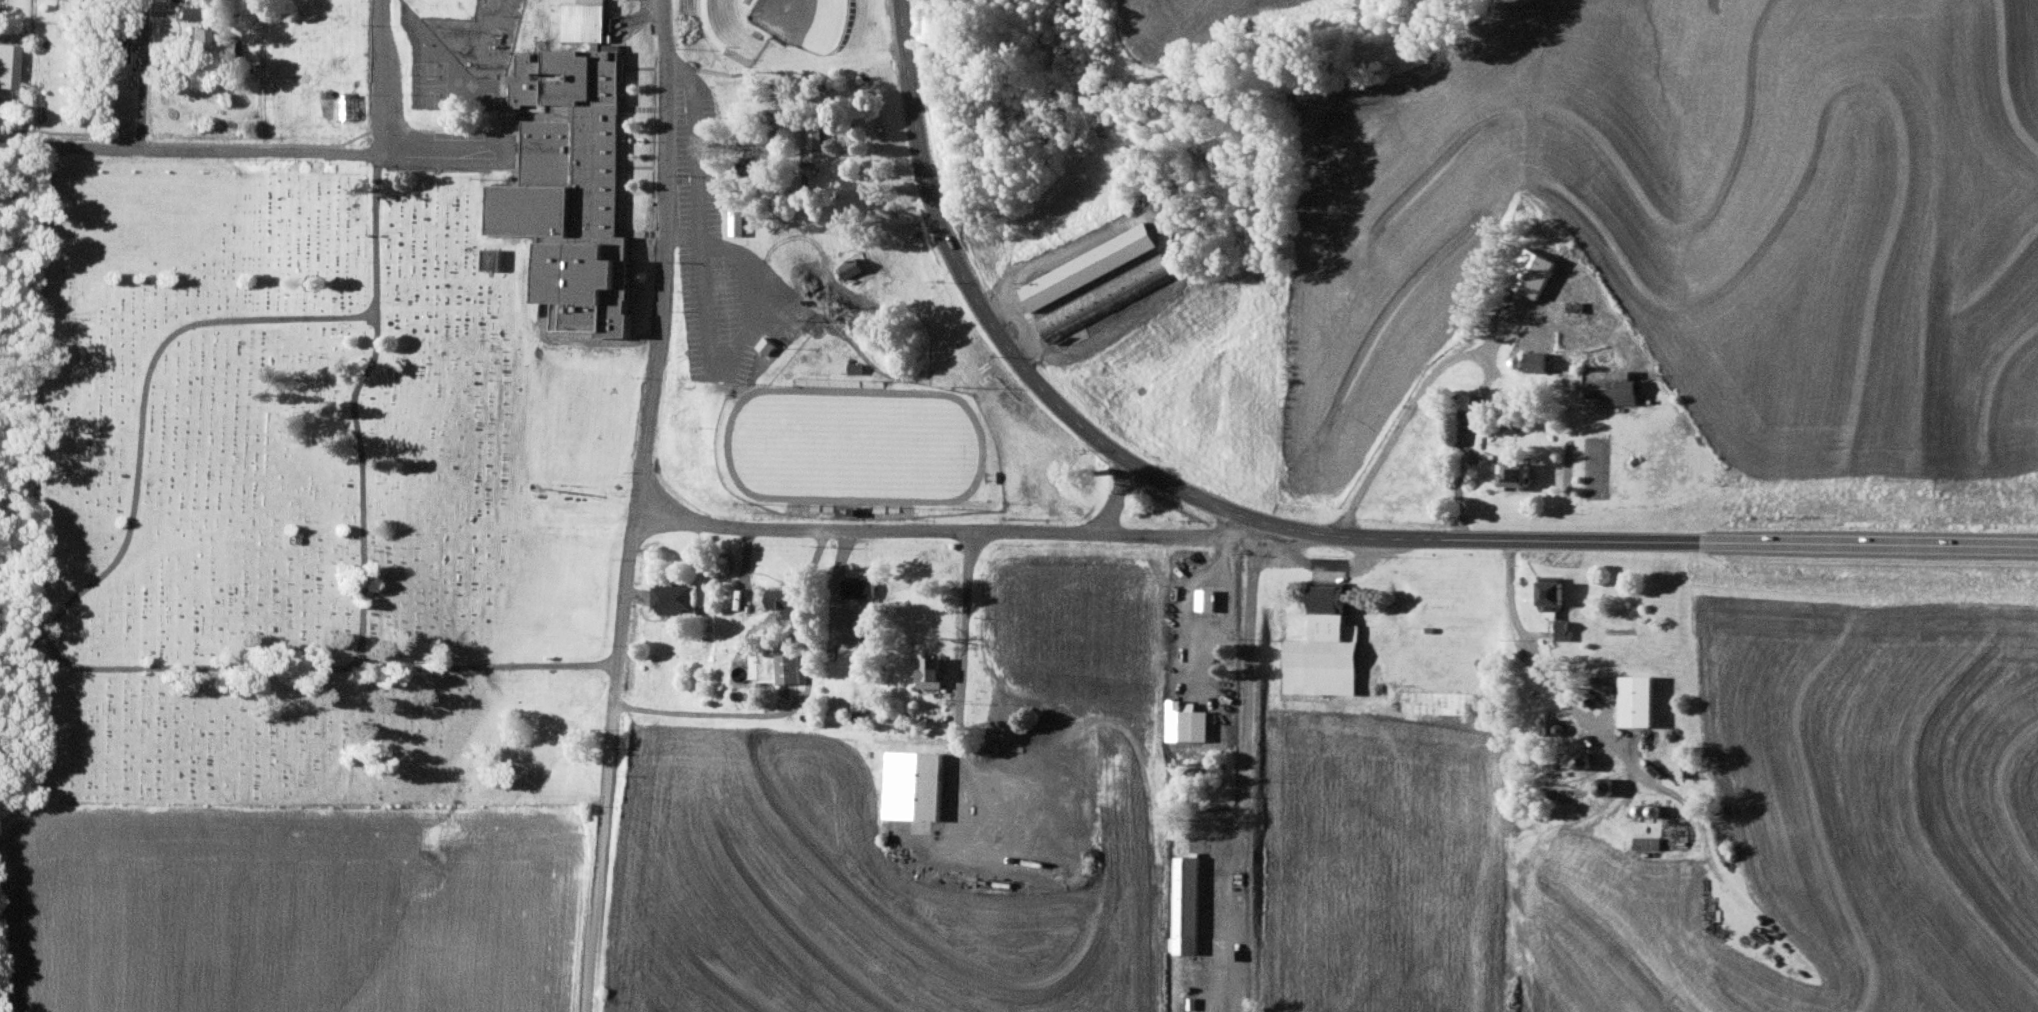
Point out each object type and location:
building: (119, 46)
building: (348, 69)
road: (140, 75)
road: (261, 75)
road: (377, 76)
building: (175, 92)
building: (349, 106)
building: (817, 136)
road: (446, 145)
road: (187, 150)
building: (575, 177)
building: (738, 222)
building: (852, 268)
building: (1535, 273)
building: (1102, 280)
road: (1460, 355)
building: (1539, 362)
building: (1577, 378)
building: (1620, 387)
road: (353, 406)
building: (1520, 474)
park: (308, 493)
road: (1113, 495)
road: (635, 506)
road: (943, 528)
road: (1308, 529)
road: (1331, 562)
building: (1557, 591)
building: (670, 597)
building: (782, 599)
building: (1208, 599)
road: (1519, 613)
building: (1565, 628)
building: (1372, 638)
building: (1326, 647)
road: (55, 650)
road: (965, 650)
building: (788, 668)
building: (931, 672)
building: (1639, 701)
building: (1435, 702)
road: (797, 709)
road: (1251, 717)
building: (1184, 725)
building: (912, 785)
building: (1187, 905)

